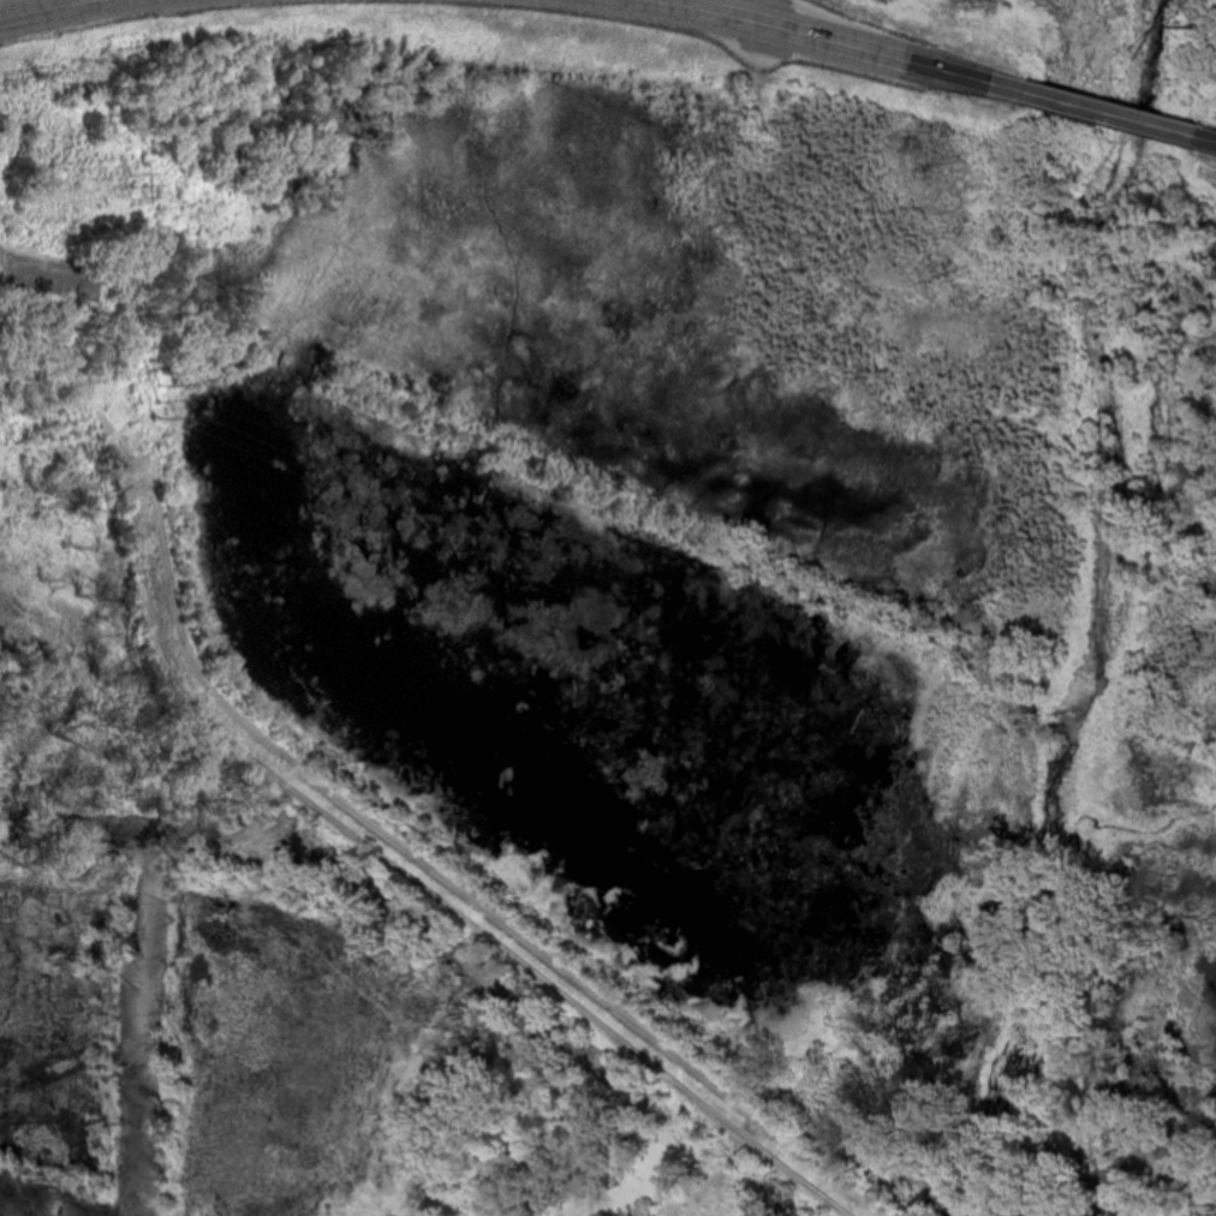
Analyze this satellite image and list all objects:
power tower: (1204, 2)
road: (40, 7)
road: (845, 41)
road: (1113, 112)
road: (1206, 138)
power tower: (131, 186)
power tower: (156, 397)
power tower: (717, 437)
river: (1096, 607)
road: (352, 804)
river: (968, 1212)

